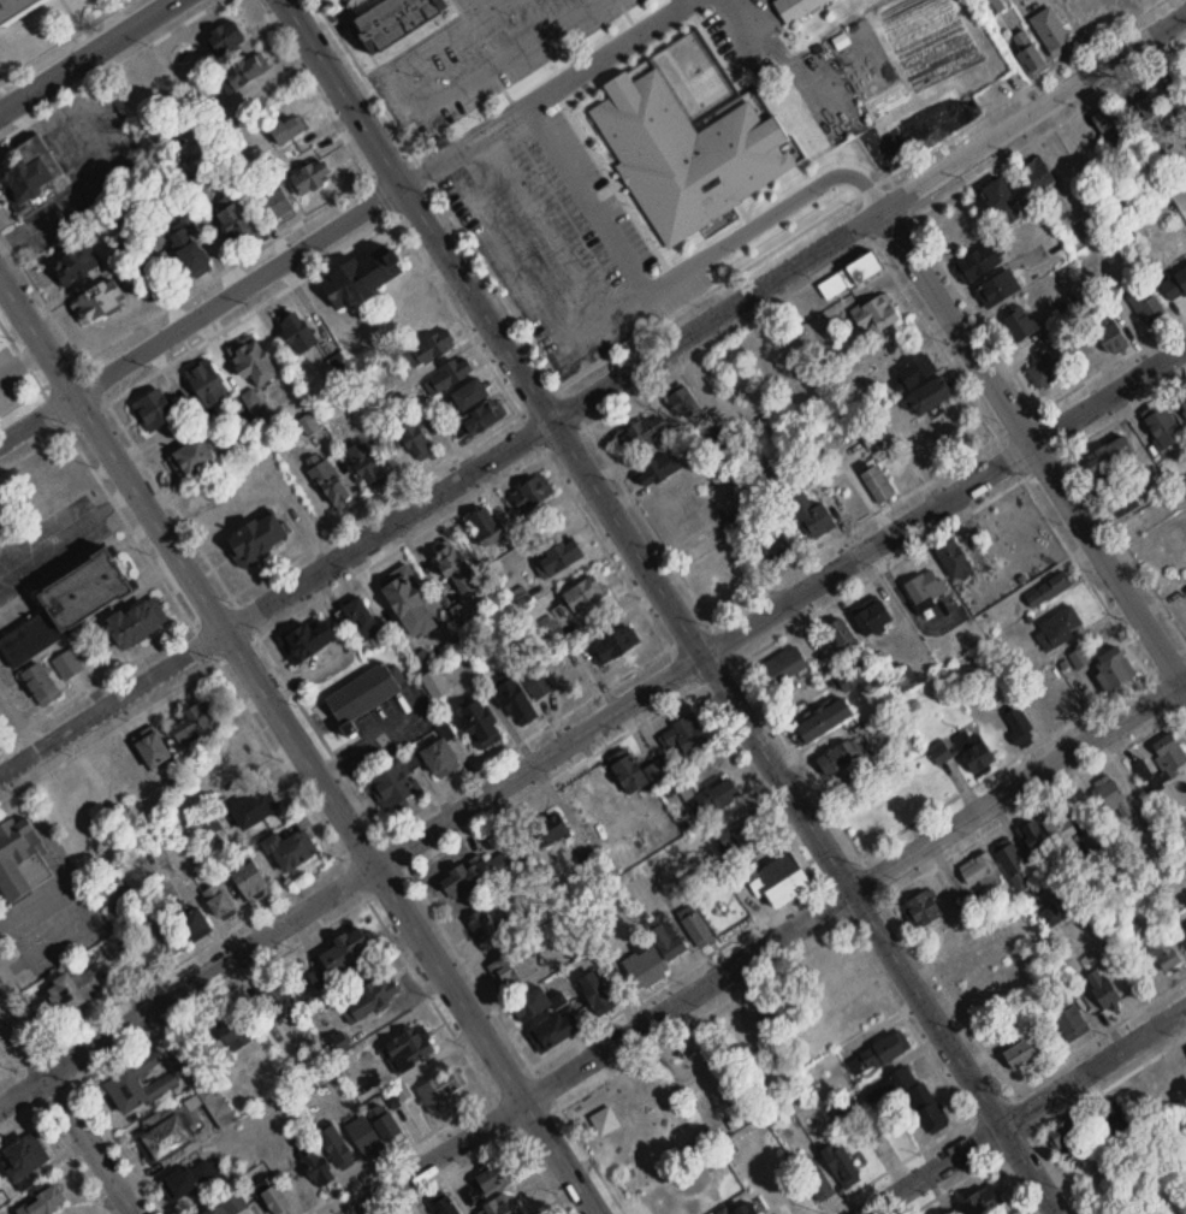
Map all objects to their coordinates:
road: (733, 4)
road: (478, 6)
building: (794, 6)
building: (17, 10)
building: (398, 14)
building: (1051, 29)
building: (224, 37)
parking lot: (475, 52)
road: (84, 54)
building: (1028, 54)
building: (1149, 97)
road: (2, 102)
road: (433, 108)
building: (1104, 118)
building: (285, 131)
building: (1086, 141)
road: (465, 146)
building: (29, 171)
parking lot: (634, 173)
building: (1043, 176)
building: (310, 177)
road: (437, 191)
road: (860, 191)
building: (1000, 195)
building: (274, 205)
building: (235, 224)
road: (401, 225)
road: (612, 236)
building: (1055, 243)
road: (561, 245)
road: (865, 247)
building: (190, 256)
building: (978, 259)
building: (75, 265)
building: (849, 276)
building: (361, 278)
building: (997, 285)
building: (1175, 286)
building: (96, 301)
building: (1148, 307)
road: (161, 308)
building: (876, 309)
road: (201, 312)
road: (976, 312)
building: (1020, 324)
building: (297, 332)
building: (1110, 337)
road: (935, 338)
road: (197, 343)
building: (431, 349)
road: (22, 361)
building: (250, 361)
building: (914, 368)
building: (1046, 372)
building: (449, 374)
building: (204, 384)
building: (930, 391)
road: (593, 392)
building: (468, 395)
building: (1182, 401)
building: (256, 403)
building: (686, 405)
building: (154, 410)
building: (478, 420)
building: (1163, 427)
building: (636, 437)
building: (414, 439)
road: (1033, 446)
building: (1109, 455)
building: (190, 457)
building: (364, 458)
building: (656, 470)
building: (327, 476)
building: (877, 485)
building: (529, 496)
building: (1132, 496)
building: (808, 515)
road: (961, 516)
building: (486, 526)
road: (1111, 526)
road: (410, 538)
building: (255, 539)
building: (777, 550)
building: (695, 552)
road: (1072, 552)
building: (558, 558)
building: (453, 562)
building: (954, 562)
road: (280, 563)
building: (925, 587)
road: (168, 590)
building: (583, 593)
building: (407, 598)
building: (67, 605)
road: (672, 606)
building: (459, 616)
building: (872, 620)
building: (135, 622)
building: (362, 624)
building: (1061, 626)
building: (843, 639)
building: (308, 640)
building: (612, 646)
road: (1167, 658)
building: (67, 664)
building: (785, 667)
building: (1111, 669)
building: (535, 680)
building: (849, 680)
building: (906, 680)
building: (41, 681)
building: (435, 685)
road: (694, 687)
building: (515, 693)
road: (592, 694)
building: (361, 695)
road: (1163, 699)
building: (1043, 703)
building: (480, 718)
building: (197, 719)
building: (823, 722)
road: (592, 723)
building: (1018, 726)
building: (686, 732)
road: (320, 733)
building: (154, 745)
road: (298, 745)
building: (962, 752)
building: (438, 759)
building: (837, 759)
building: (1167, 760)
building: (223, 762)
road: (1003, 763)
building: (628, 768)
building: (1143, 771)
building: (395, 777)
road: (530, 793)
building: (716, 795)
road: (1039, 798)
road: (824, 799)
building: (251, 810)
building: (1149, 822)
building: (548, 830)
building: (1032, 836)
building: (740, 837)
building: (1065, 837)
building: (291, 845)
building: (19, 860)
building: (1014, 867)
building: (979, 870)
building: (250, 877)
building: (465, 877)
building: (782, 881)
building: (218, 902)
building: (920, 910)
building: (487, 918)
building: (195, 925)
building: (696, 929)
building: (1184, 930)
road: (820, 937)
building: (666, 941)
road: (764, 946)
building: (115, 949)
building: (1163, 954)
building: (342, 958)
building: (646, 963)
building: (511, 965)
building: (1102, 982)
building: (75, 990)
road: (223, 990)
building: (593, 990)
building: (278, 1000)
building: (369, 1000)
building: (532, 1001)
building: (779, 1013)
building: (1067, 1015)
road: (40, 1019)
building: (552, 1028)
building: (232, 1029)
road: (579, 1035)
road: (1077, 1046)
building: (336, 1047)
building: (407, 1049)
building: (1019, 1055)
building: (876, 1056)
building: (138, 1085)
building: (893, 1085)
building: (439, 1089)
road: (1008, 1089)
road: (66, 1107)
building: (926, 1107)
road: (95, 1108)
road: (1024, 1111)
building: (1114, 1118)
park: (671, 1121)
building: (384, 1123)
building: (180, 1126)
road: (52, 1131)
building: (1066, 1133)
building: (364, 1138)
building: (336, 1147)
road: (1048, 1151)
road: (393, 1153)
road: (529, 1153)
building: (18, 1160)
road: (475, 1160)
building: (840, 1165)
building: (315, 1167)
building: (196, 1178)
building: (485, 1183)
road: (951, 1186)
road: (1012, 1186)
building: (273, 1197)
building: (45, 1202)
building: (235, 1202)
building: (499, 1207)

